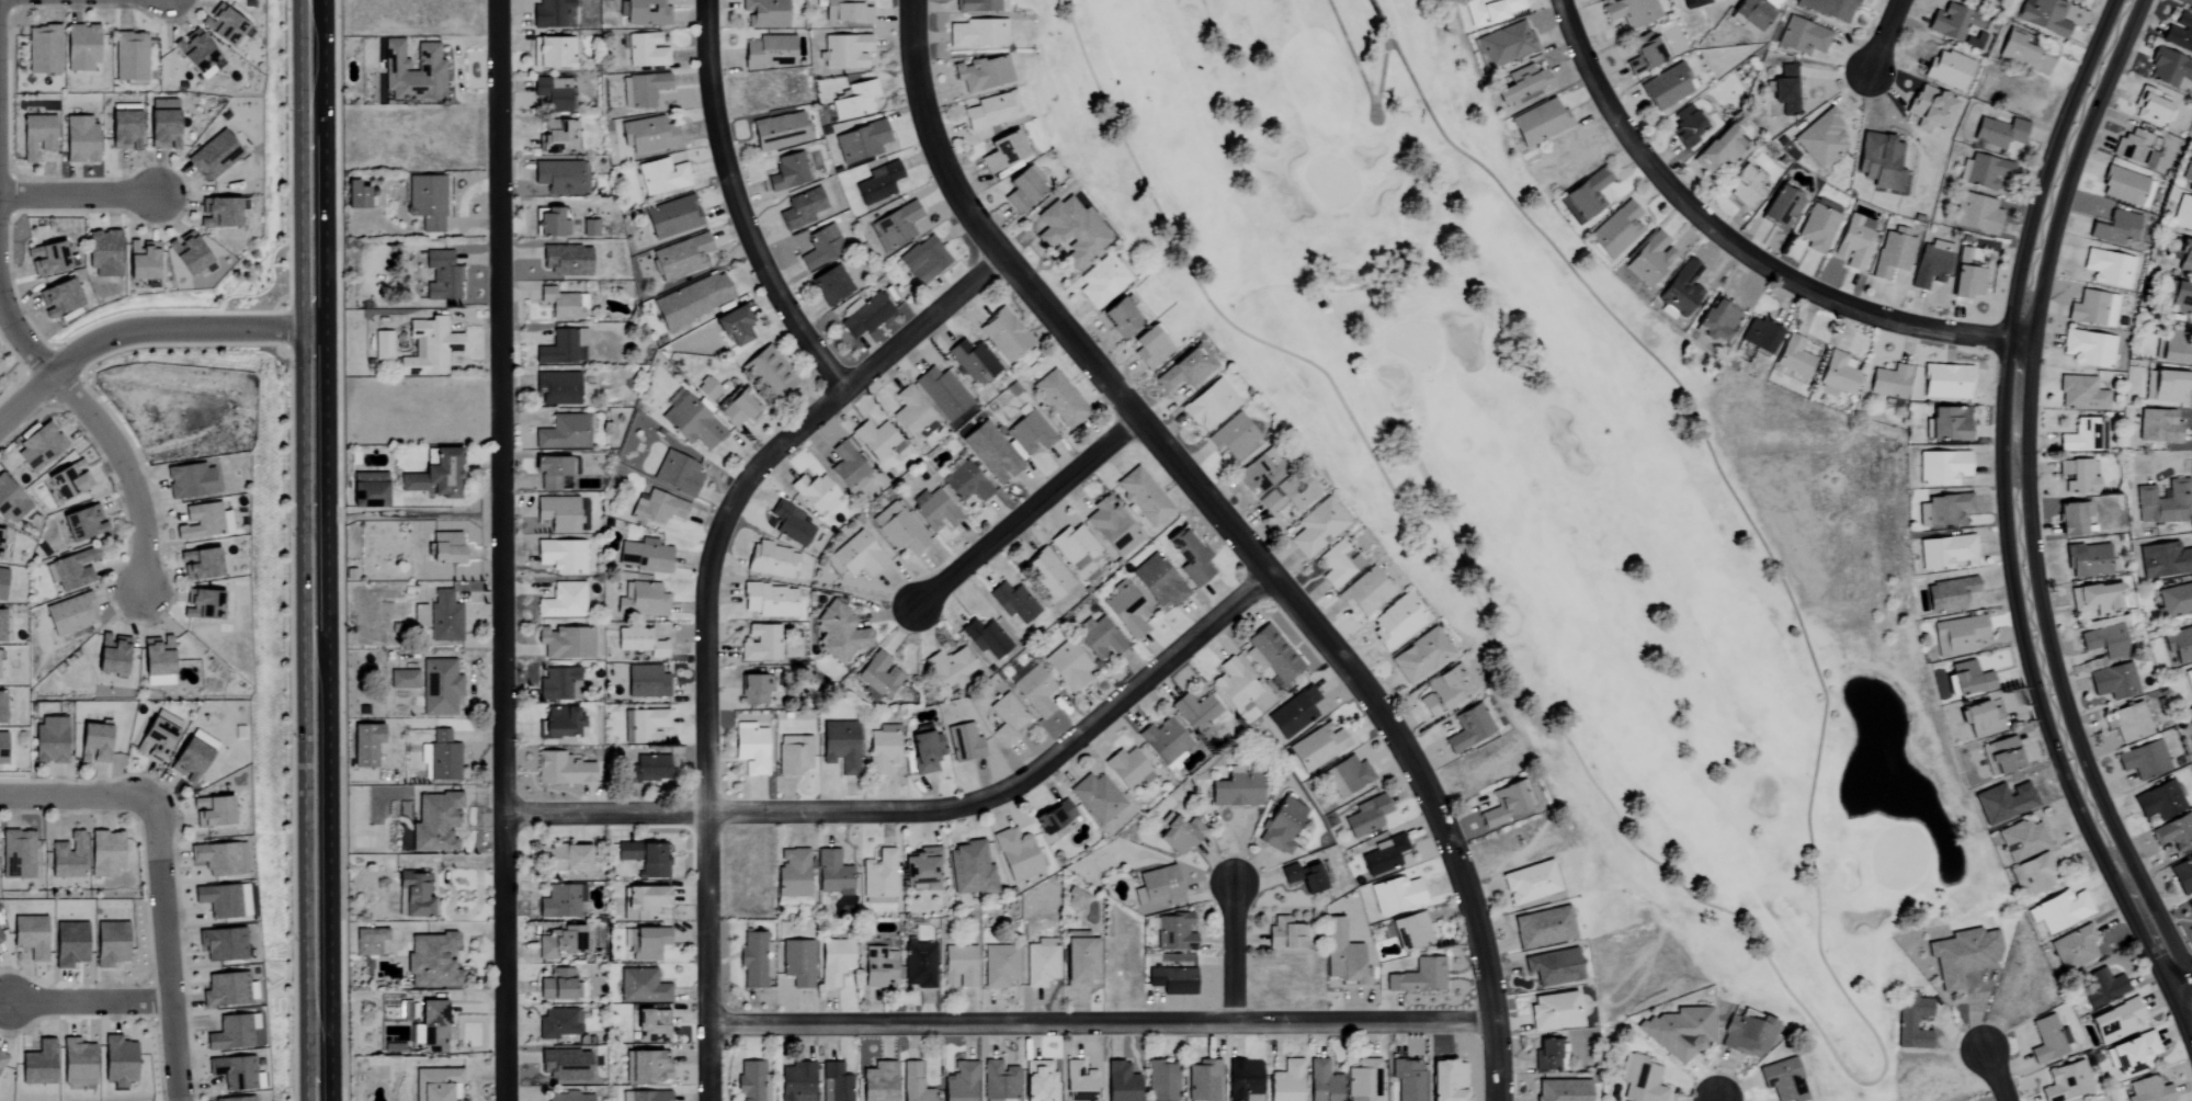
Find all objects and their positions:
building: (1963, 0)
building: (1694, 3)
building: (2184, 3)
building: (980, 5)
building: (1829, 8)
building: (1497, 9)
building: (644, 12)
building: (845, 12)
building: (1631, 12)
building: (765, 13)
building: (552, 14)
building: (1751, 14)
building: (1955, 25)
building: (220, 26)
building: (2179, 33)
building: (977, 34)
building: (1802, 37)
road: (1883, 39)
building: (1506, 45)
building: (79, 48)
building: (42, 50)
building: (645, 50)
building: (193, 52)
building: (769, 52)
building: (844, 52)
building: (2023, 54)
building: (550, 55)
building: (129, 57)
building: (1644, 57)
building: (1946, 70)
building: (2169, 70)
building: (411, 72)
building: (983, 73)
building: (1519, 86)
building: (641, 90)
building: (1783, 92)
building: (554, 94)
building: (854, 101)
building: (2149, 107)
building: (1929, 109)
building: (991, 111)
building: (1538, 124)
building: (161, 125)
building: (123, 126)
building: (1686, 126)
building: (779, 133)
building: (1999, 133)
building: (648, 135)
building: (35, 137)
building: (556, 138)
building: (1820, 139)
building: (79, 140)
building: (860, 143)
building: (2135, 149)
building: (1718, 150)
building: (1002, 154)
building: (212, 157)
building: (1879, 162)
road: (310, 164)
building: (2187, 171)
building: (1983, 172)
building: (787, 173)
building: (661, 177)
building: (561, 178)
building: (877, 184)
building: (1744, 188)
building: (2126, 188)
building: (1021, 191)
road: (76, 193)
building: (1583, 197)
building: (360, 198)
building: (427, 203)
road: (745, 206)
building: (800, 209)
building: (1782, 209)
building: (220, 214)
building: (1977, 215)
building: (2182, 215)
building: (671, 217)
building: (548, 224)
building: (897, 225)
building: (1819, 225)
building: (589, 229)
building: (2115, 229)
building: (1069, 231)
building: (1615, 231)
building: (1854, 241)
road: (1734, 246)
building: (820, 247)
building: (1893, 253)
building: (102, 254)
building: (185, 254)
building: (680, 258)
building: (2184, 258)
building: (47, 260)
building: (923, 260)
building: (1649, 260)
building: (565, 261)
building: (139, 262)
building: (1930, 265)
building: (2108, 269)
building: (1967, 275)
building: (441, 277)
building: (1101, 281)
building: (829, 285)
building: (1681, 288)
building: (58, 299)
building: (2180, 299)
building: (692, 300)
building: (561, 304)
building: (2092, 309)
building: (865, 316)
building: (1120, 317)
building: (1716, 322)
building: (731, 326)
road: (137, 329)
building: (1003, 334)
building: (1759, 338)
building: (382, 345)
building: (430, 347)
building: (1149, 347)
building: (2171, 347)
building: (563, 348)
building: (2088, 348)
building: (1744, 353)
building: (1794, 356)
building: (972, 362)
building: (1185, 368)
building: (769, 372)
building: (1839, 373)
building: (1889, 382)
building: (1945, 382)
building: (2167, 386)
building: (557, 387)
building: (707, 389)
building: (941, 391)
building: (2081, 394)
building: (1059, 399)
building: (1208, 405)
building: (737, 409)
building: (912, 413)
building: (691, 423)
building: (1944, 423)
building: (2158, 425)
building: (564, 432)
building: (1029, 432)
building: (2085, 435)
building: (1231, 436)
road: (109, 438)
building: (876, 439)
building: (38, 446)
building: (990, 451)
building: (847, 467)
building: (1942, 467)
building: (548, 473)
building: (677, 473)
building: (1260, 473)
building: (433, 474)
building: (2078, 476)
building: (67, 479)
building: (188, 480)
building: (965, 481)
building: (367, 490)
park: (1556, 490)
building: (815, 492)
building: (1288, 493)
building: (1143, 497)
building: (10, 502)
building: (2163, 503)
building: (658, 509)
building: (933, 510)
building: (1943, 510)
road: (424, 512)
road: (1027, 512)
building: (558, 513)
road: (2019, 515)
building: (2072, 519)
building: (202, 521)
building: (80, 523)
building: (790, 523)
building: (1111, 526)
building: (898, 527)
building: (1317, 527)
road: (1235, 534)
building: (1074, 546)
building: (444, 547)
road: (504, 549)
building: (1945, 552)
building: (858, 555)
building: (560, 556)
building: (644, 556)
building: (1188, 556)
building: (771, 560)
building: (2088, 560)
building: (198, 564)
building: (1338, 564)
building: (72, 569)
building: (1046, 574)
building: (1, 581)
building: (1158, 583)
building: (1364, 591)
building: (1949, 594)
building: (2094, 599)
building: (641, 600)
building: (2176, 600)
building: (563, 601)
building: (769, 601)
building: (1012, 602)
building: (204, 603)
building: (1126, 612)
building: (69, 614)
building: (418, 614)
road: (715, 616)
building: (444, 618)
building: (1395, 622)
building: (1, 625)
building: (7, 626)
building: (838, 631)
building: (1957, 635)
building: (986, 638)
building: (1100, 639)
building: (2100, 640)
building: (639, 642)
building: (565, 643)
building: (759, 644)
building: (2179, 645)
building: (110, 654)
building: (1273, 654)
building: (1419, 656)
building: (155, 661)
building: (1066, 666)
building: (950, 668)
building: (878, 676)
building: (1968, 679)
building: (2189, 680)
building: (2113, 681)
building: (645, 682)
building: (557, 683)
building: (439, 686)
building: (1234, 686)
building: (751, 690)
building: (1033, 692)
building: (1442, 692)
building: (1, 707)
building: (1195, 712)
building: (1293, 713)
road: (314, 715)
building: (2191, 717)
building: (1007, 719)
building: (1983, 719)
building: (560, 723)
building: (2127, 723)
building: (644, 726)
building: (1468, 727)
building: (155, 735)
building: (48, 740)
building: (964, 742)
building: (1165, 742)
building: (92, 744)
building: (364, 745)
building: (840, 747)
building: (1317, 747)
building: (1, 748)
building: (749, 748)
building: (883, 749)
building: (924, 750)
building: (190, 756)
building: (2004, 756)
building: (440, 757)
building: (795, 757)
building: (2144, 760)
building: (646, 769)
building: (1127, 769)
building: (560, 770)
building: (1347, 776)
building: (1236, 788)
road: (76, 798)
building: (1095, 798)
building: (2160, 801)
building: (2003, 802)
building: (1506, 804)
building: (211, 811)
road: (930, 811)
building: (1366, 816)
building: (1052, 817)
building: (434, 824)
building: (1281, 825)
building: (2174, 833)
building: (1178, 836)
building: (2022, 840)
building: (18, 854)
building: (103, 854)
building: (1015, 854)
building: (1383, 855)
building: (66, 858)
building: (220, 859)
building: (563, 859)
building: (644, 859)
building: (920, 870)
building: (969, 870)
building: (792, 873)
building: (2036, 873)
building: (832, 874)
building: (879, 875)
building: (2182, 875)
building: (1307, 877)
building: (1530, 883)
building: (1160, 886)
building: (416, 895)
building: (1395, 895)
building: (1074, 899)
building: (222, 900)
building: (560, 901)
building: (641, 903)
building: (2190, 908)
building: (2059, 910)
building: (1543, 928)
building: (1410, 932)
building: (1174, 933)
building: (1284, 934)
building: (29, 937)
building: (370, 942)
building: (0, 943)
building: (560, 943)
building: (648, 943)
building: (67, 944)
building: (107, 944)
building: (222, 945)
building: (2074, 949)
road: (163, 951)
road: (1236, 952)
building: (1342, 955)
building: (1963, 956)
building: (754, 960)
building: (1080, 960)
building: (834, 961)
building: (431, 962)
building: (797, 963)
building: (918, 965)
building: (1041, 965)
building: (959, 966)
building: (1000, 966)
building: (878, 967)
building: (1553, 967)
building: (1418, 977)
building: (1172, 980)
road: (2185, 980)
building: (558, 986)
building: (641, 987)
building: (2102, 987)
building: (225, 990)
road: (88, 999)
building: (1553, 1011)
road: (1103, 1020)
building: (1912, 1022)
building: (2115, 1022)
building: (558, 1023)
building: (430, 1025)
building: (650, 1025)
building: (1678, 1032)
building: (1747, 1034)
building: (2047, 1040)
building: (2131, 1054)
building: (1547, 1055)
building: (1, 1058)
building: (116, 1062)
building: (75, 1063)
building: (37, 1065)
building: (563, 1065)
building: (646, 1067)
building: (235, 1072)
road: (1996, 1075)
building: (1408, 1079)
building: (1242, 1080)
building: (1446, 1080)
building: (1783, 1080)
building: (750, 1081)
building: (877, 1081)
building: (999, 1081)
building: (1162, 1081)
building: (1363, 1081)
building: (1643, 1081)
building: (796, 1082)
building: (834, 1082)
building: (959, 1082)
building: (1078, 1082)
building: (1120, 1082)
building: (1286, 1082)
building: (1322, 1082)
building: (2066, 1082)
building: (1561, 1090)
building: (2149, 1090)
building: (645, 1096)
building: (232, 1099)
road: (1715, 1100)

